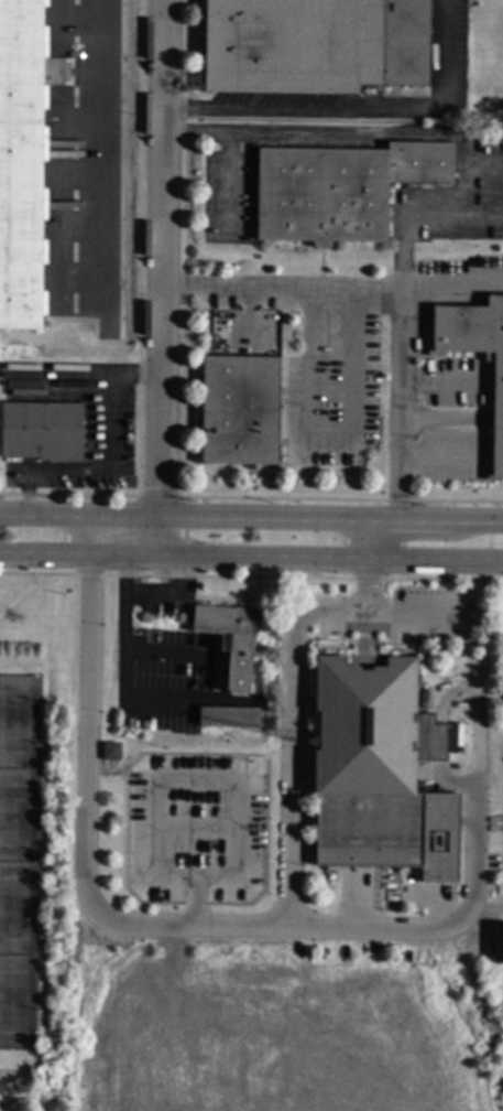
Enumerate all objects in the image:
building: (314, 45)
road: (354, 117)
road: (415, 134)
building: (22, 159)
road: (483, 162)
road: (222, 185)
building: (339, 190)
road: (484, 214)
road: (161, 277)
road: (400, 288)
road: (452, 288)
road: (440, 381)
road: (111, 397)
building: (239, 411)
building: (496, 414)
building: (41, 431)
road: (330, 442)
road: (438, 457)
road: (68, 471)
road: (26, 494)
road: (44, 518)
road: (296, 522)
road: (89, 537)
road: (45, 553)
road: (269, 554)
road: (474, 558)
road: (362, 568)
road: (119, 578)
road: (415, 616)
building: (229, 640)
road: (118, 675)
building: (229, 718)
park: (19, 721)
building: (110, 752)
building: (369, 764)
road: (173, 781)
park: (19, 812)
road: (196, 833)
park: (293, 867)
road: (467, 902)
park: (18, 905)
road: (196, 927)
building: (497, 945)
park: (17, 1001)

